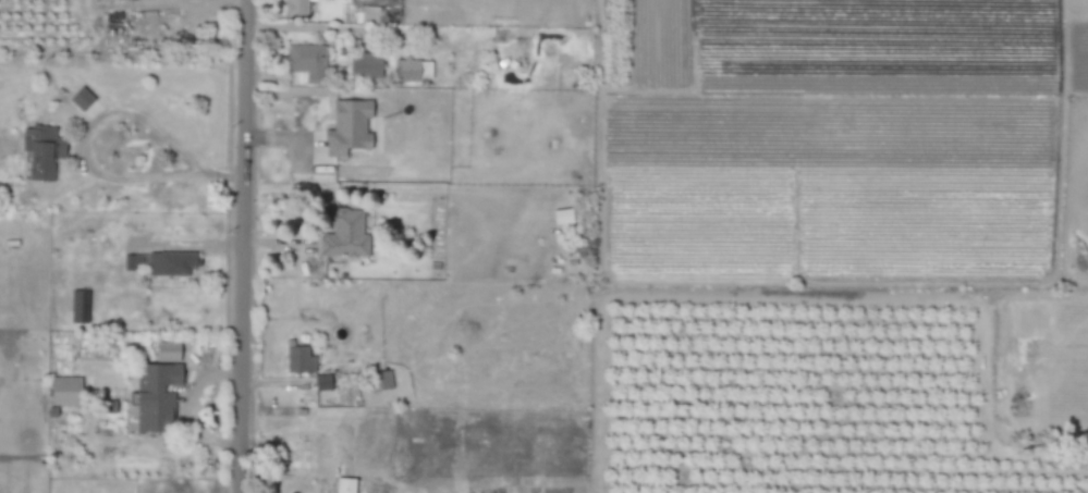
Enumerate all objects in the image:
building: (299, 8)
road: (342, 28)
road: (271, 59)
building: (309, 62)
building: (366, 65)
building: (407, 70)
building: (82, 99)
road: (95, 126)
building: (350, 127)
building: (44, 152)
building: (563, 217)
building: (345, 234)
road: (243, 246)
building: (162, 263)
building: (81, 307)
building: (301, 360)
building: (325, 383)
building: (66, 392)
building: (157, 397)
building: (108, 407)
building: (296, 449)
building: (346, 485)

